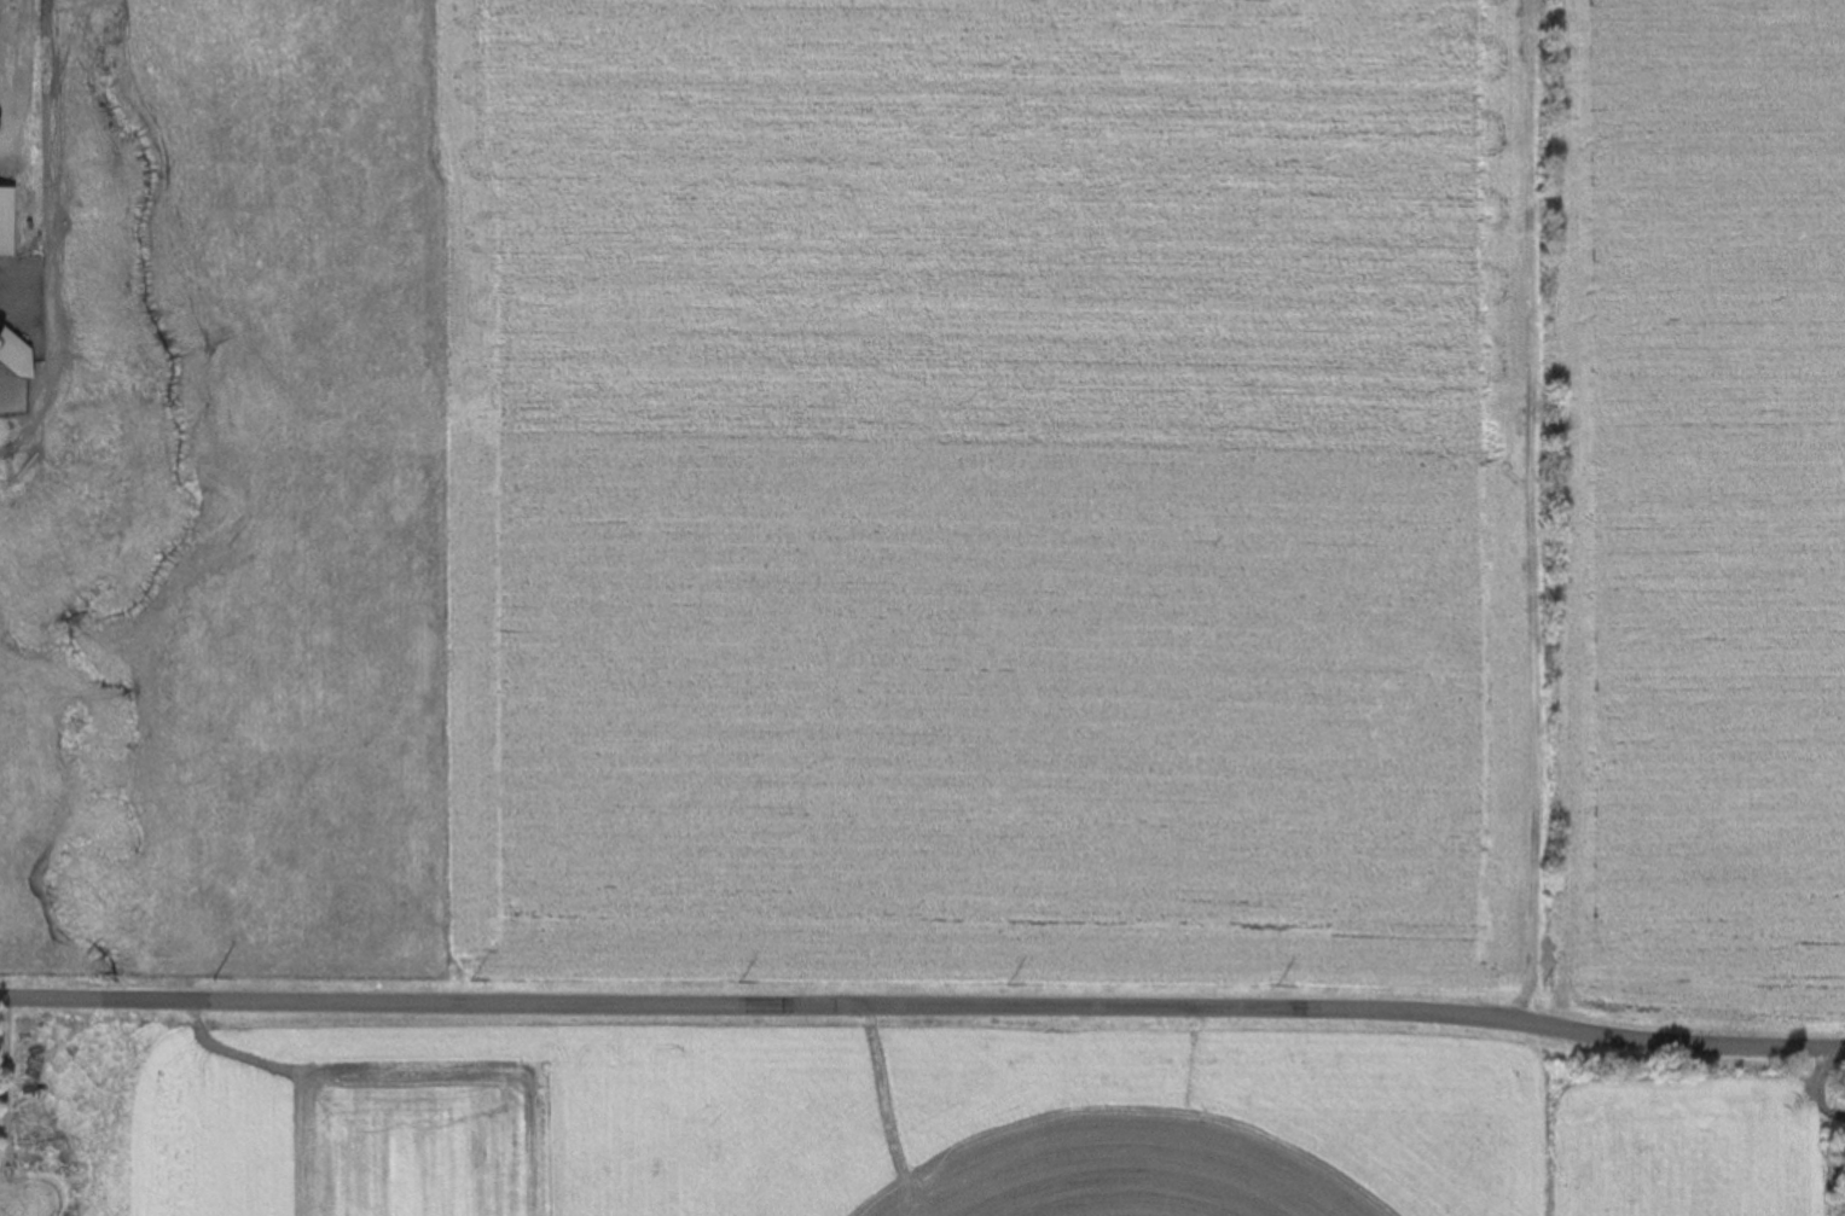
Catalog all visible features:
building: (7, 223)
road: (923, 1014)
building: (29, 1115)

